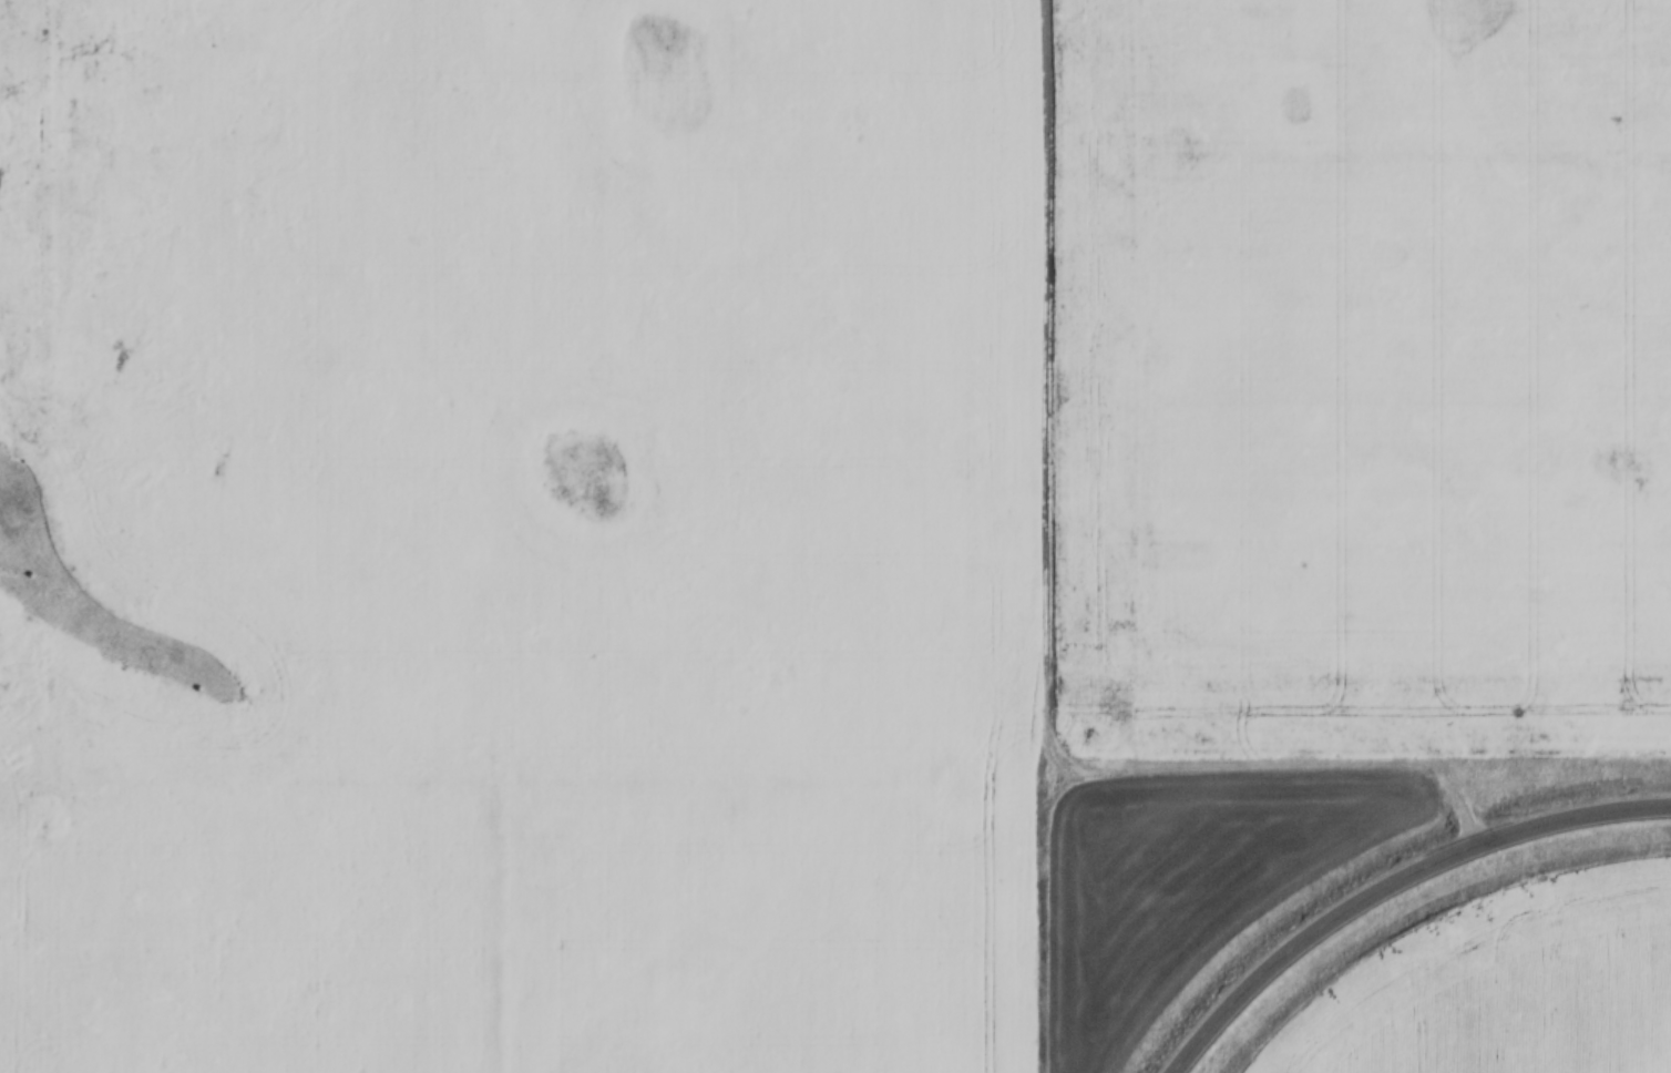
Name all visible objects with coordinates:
road: (1390, 882)

